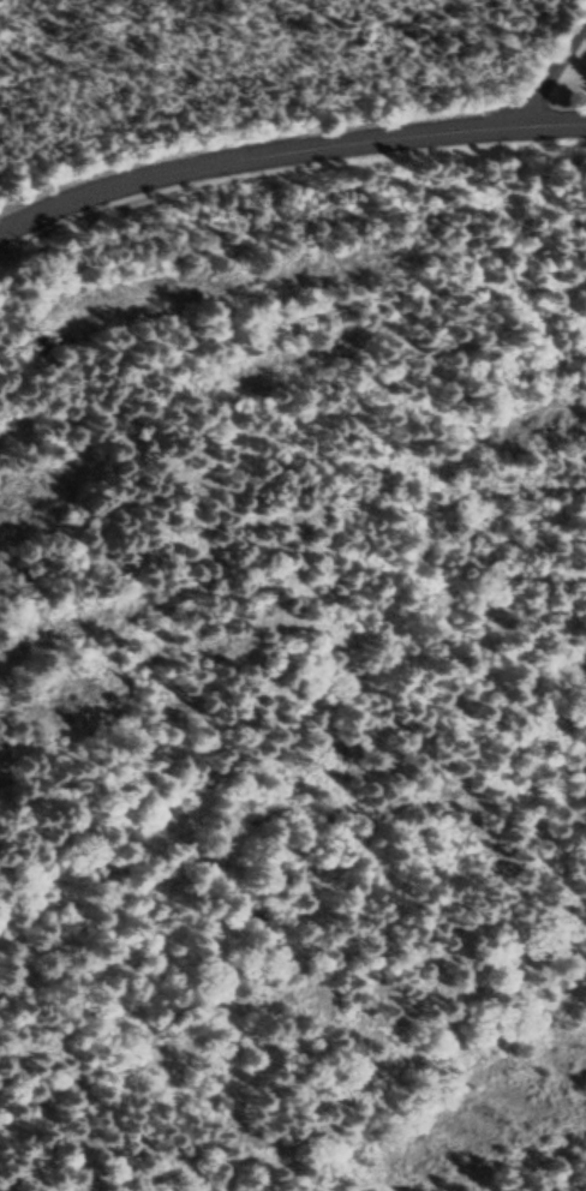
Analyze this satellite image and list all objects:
road: (550, 67)
road: (286, 150)

